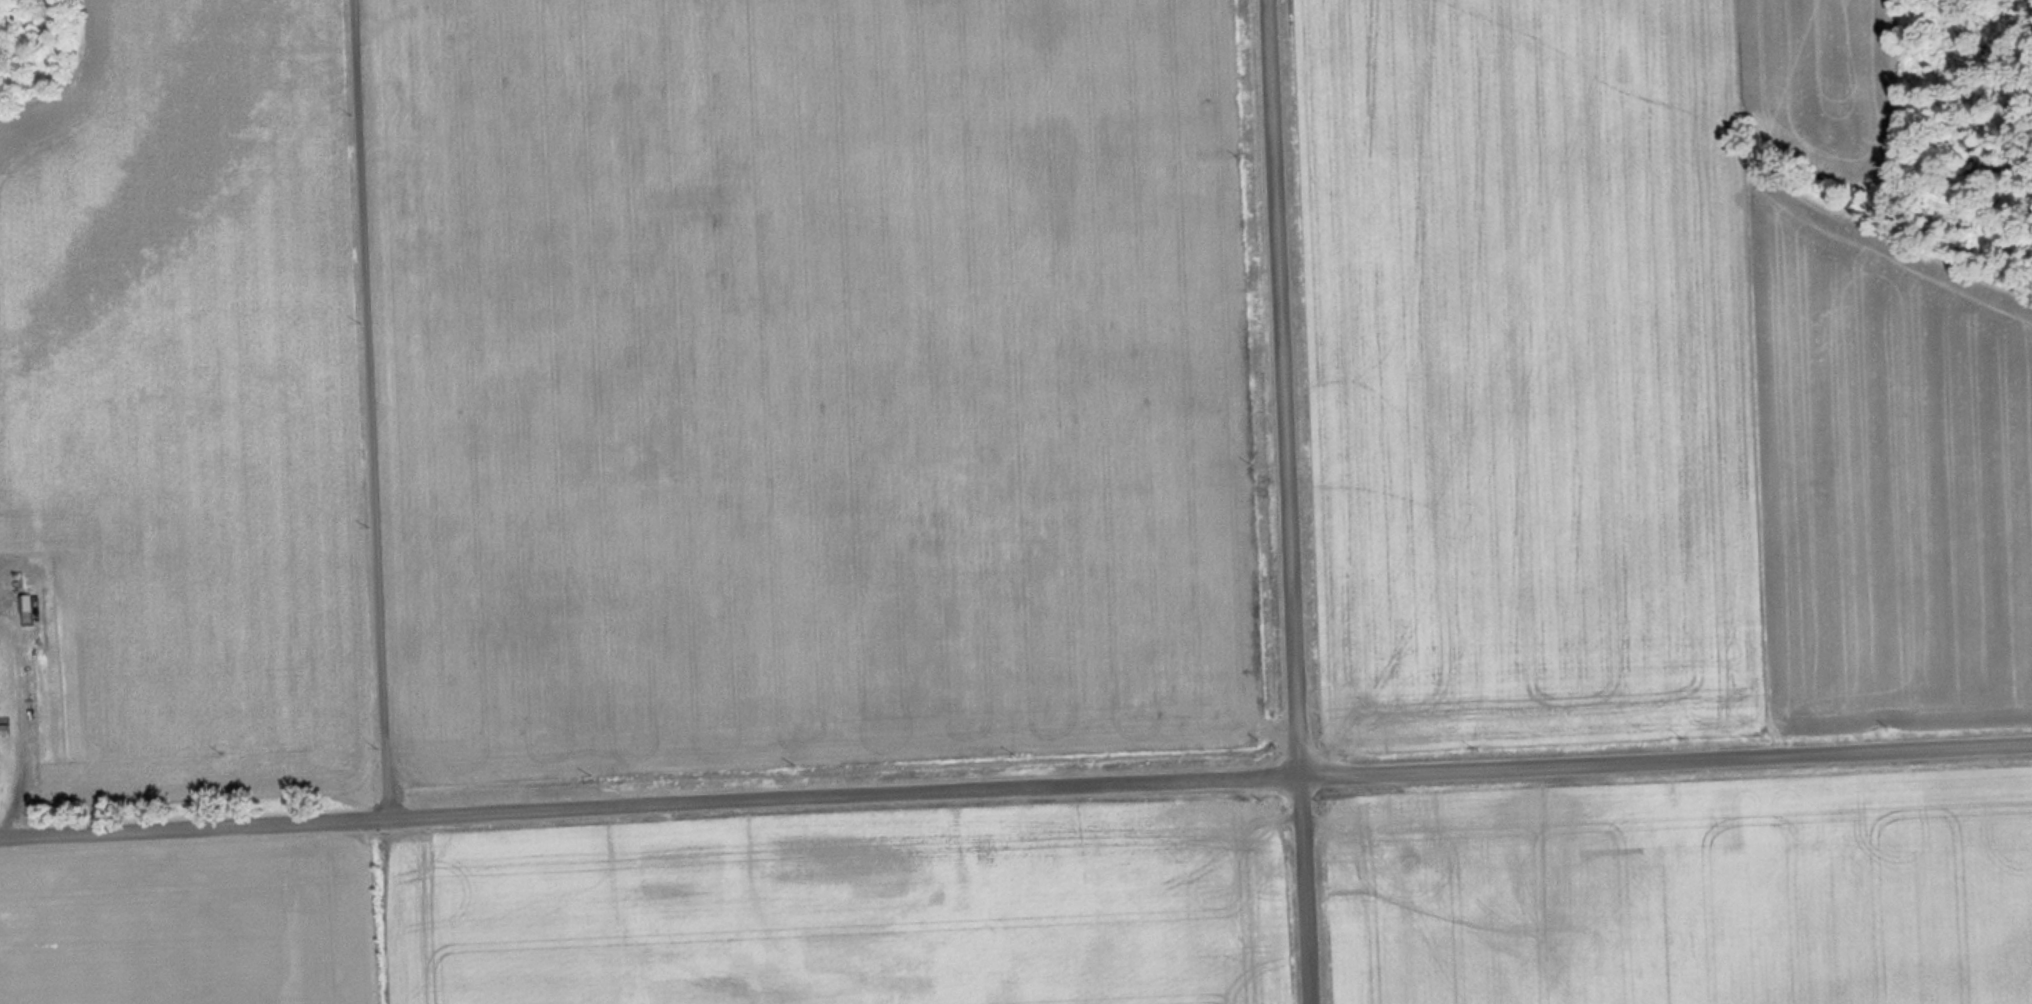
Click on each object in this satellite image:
road: (373, 408)
road: (1288, 502)
road: (1015, 788)

